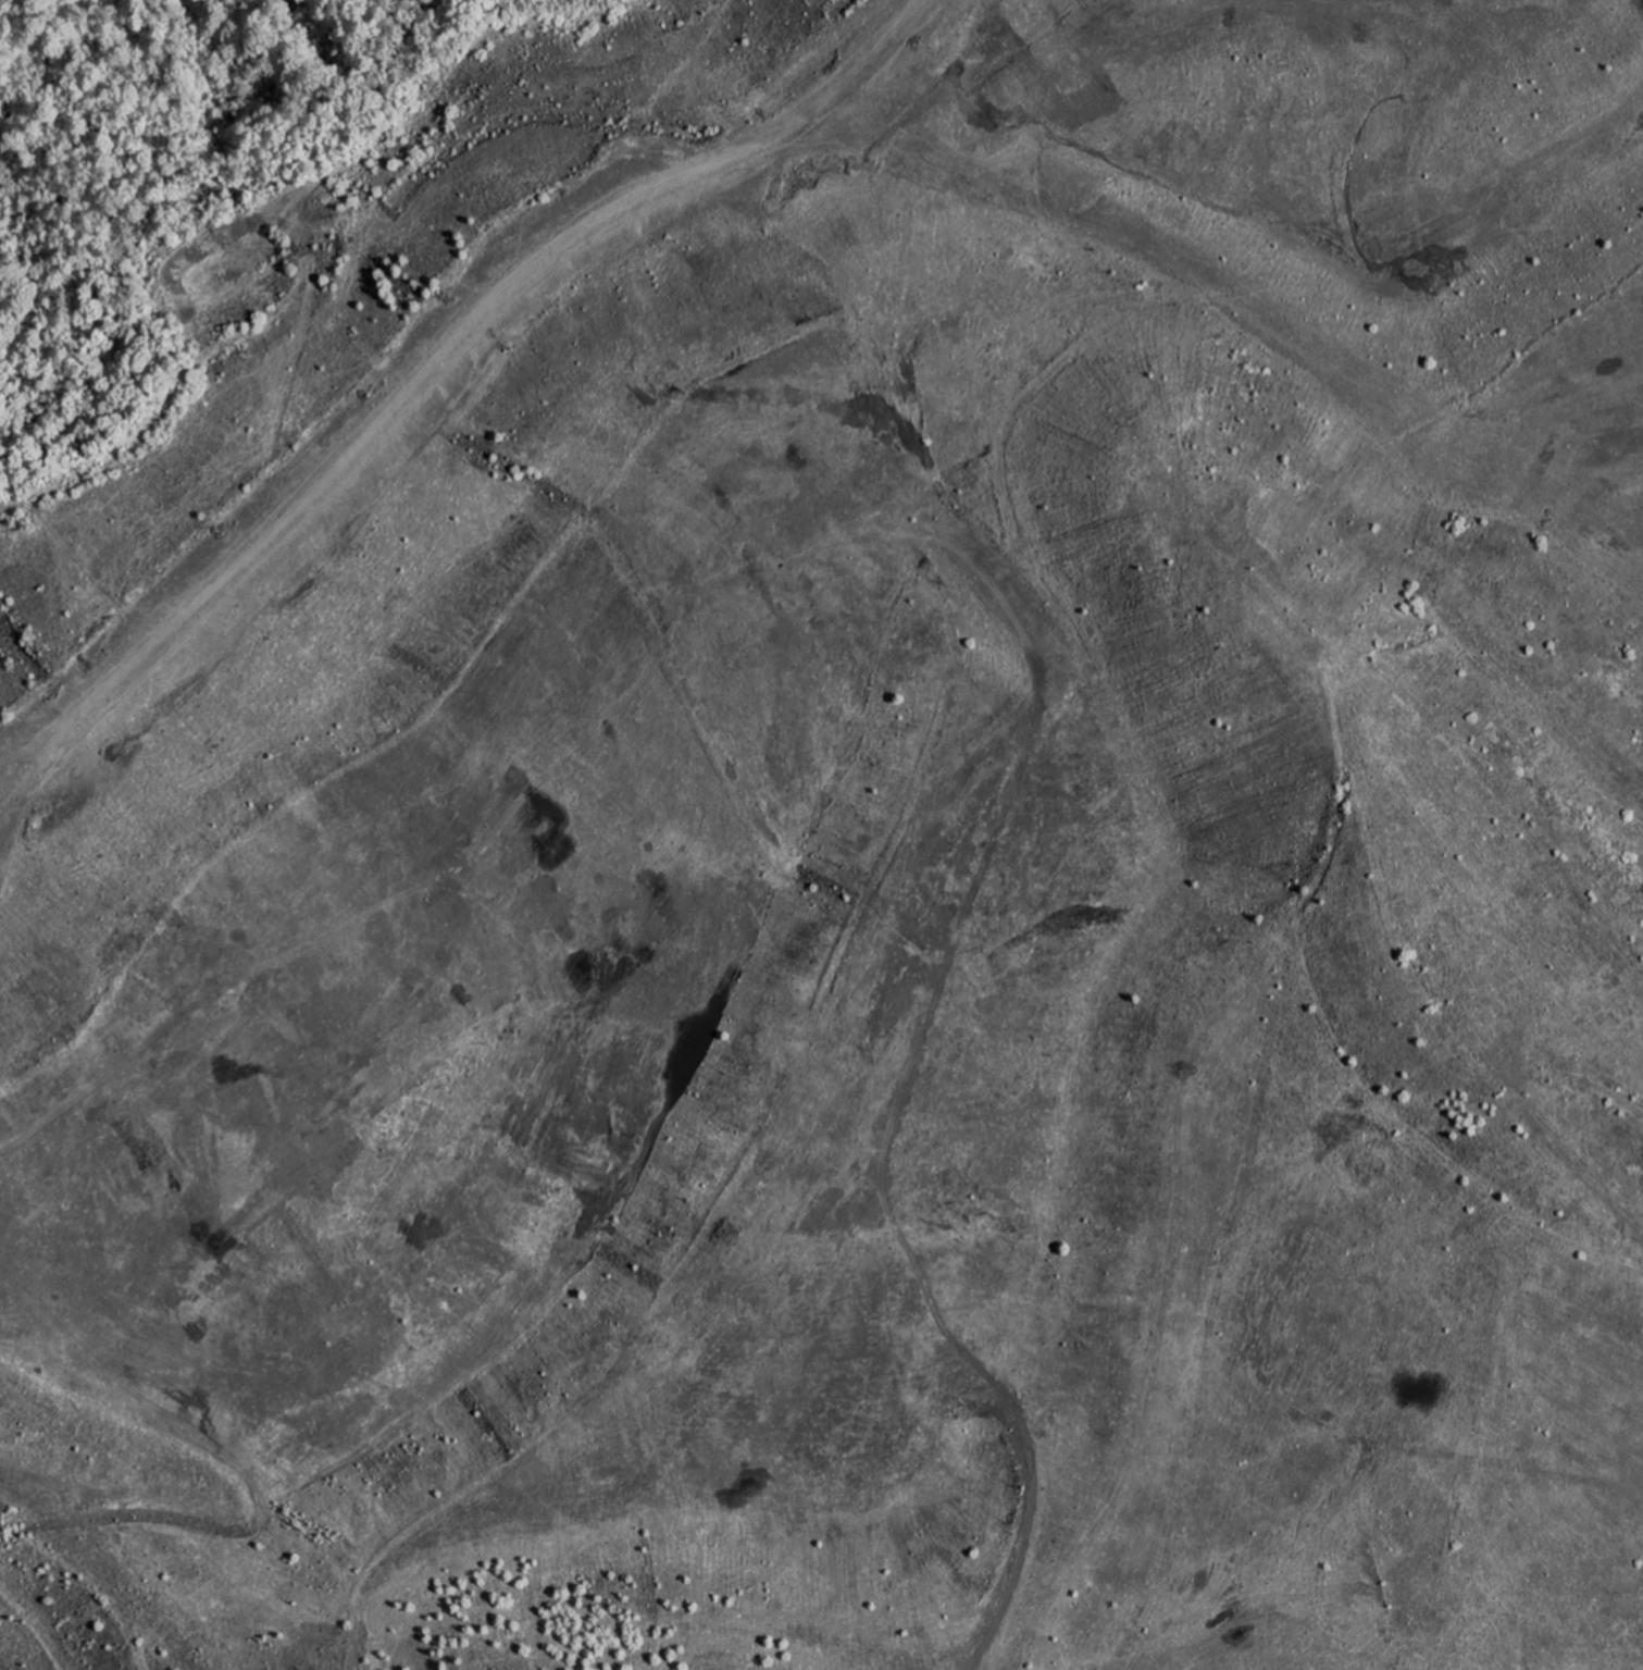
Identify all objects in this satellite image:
quarry: (833, 846)

